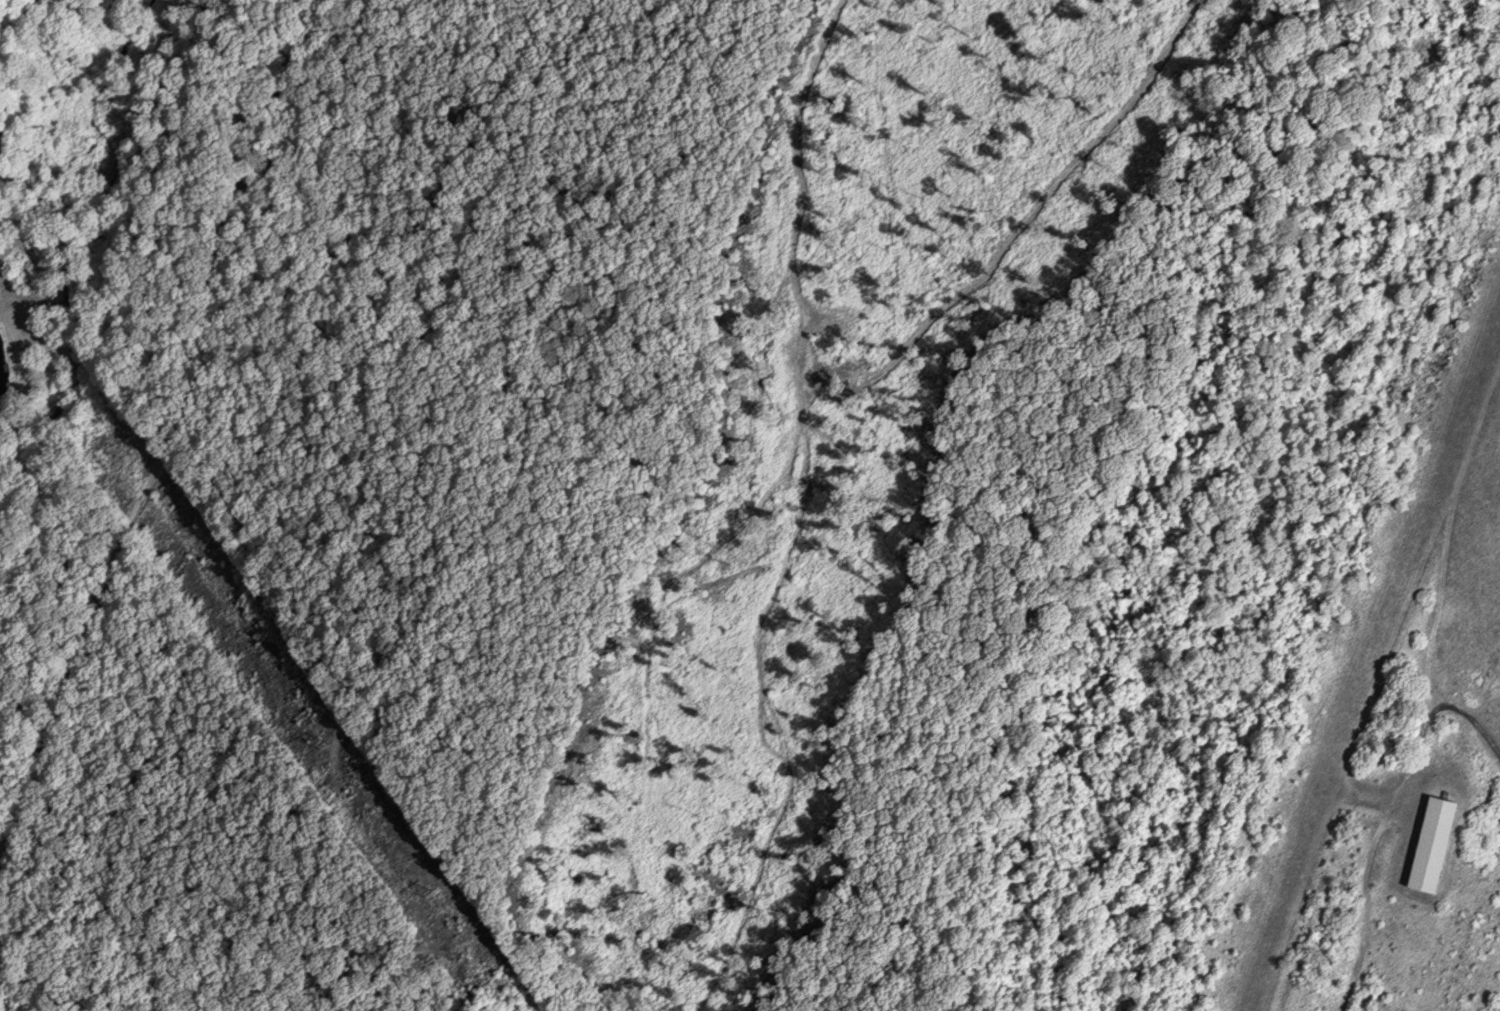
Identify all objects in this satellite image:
road: (168, 440)
road: (1476, 721)
building: (1433, 844)

